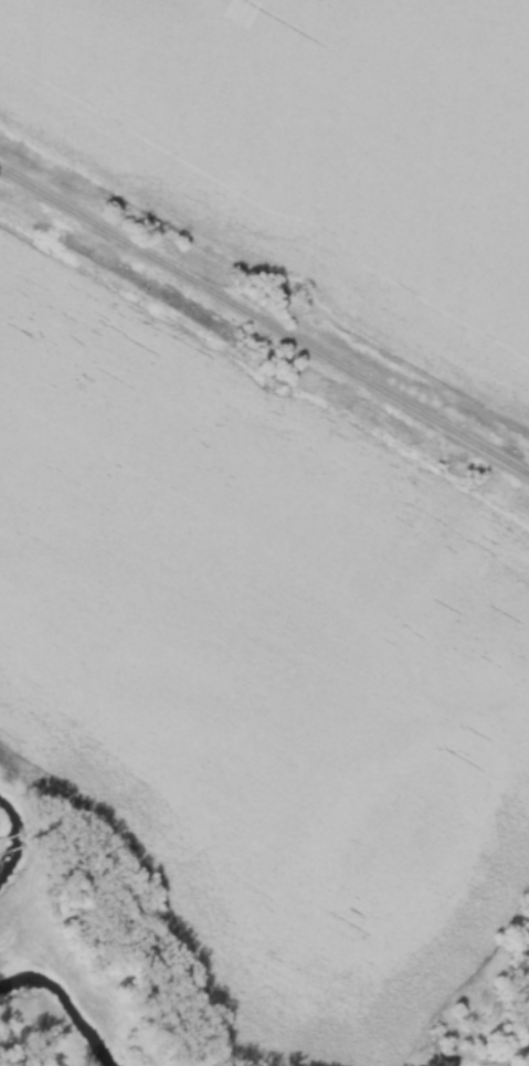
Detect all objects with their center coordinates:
crop: (317, 144)
railway: (264, 313)

